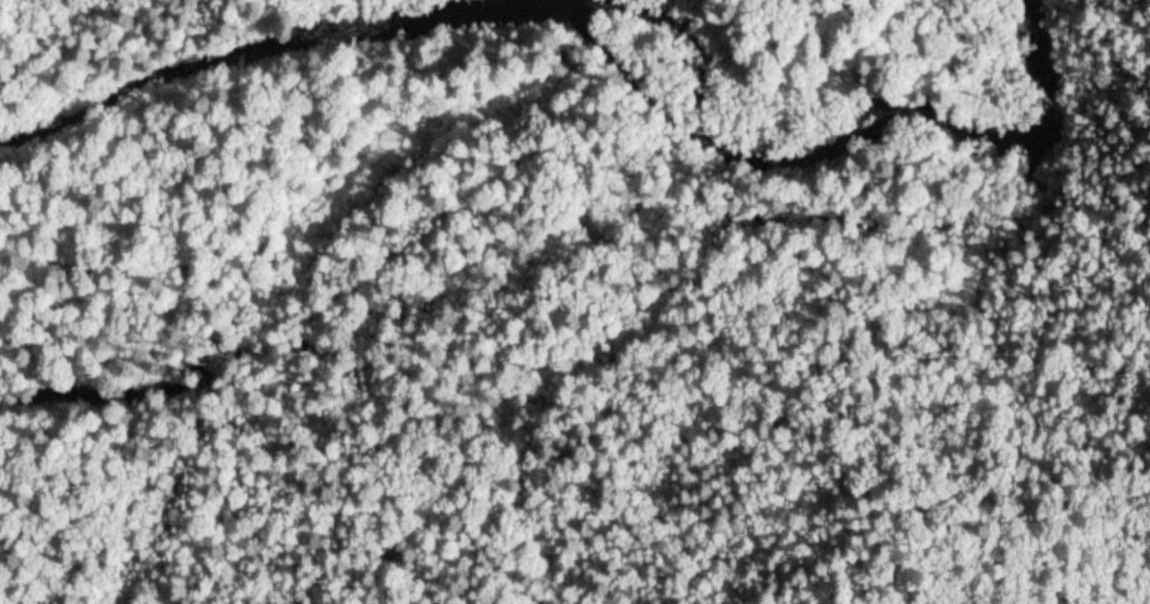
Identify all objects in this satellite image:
road: (51, 2)
river: (589, 54)

